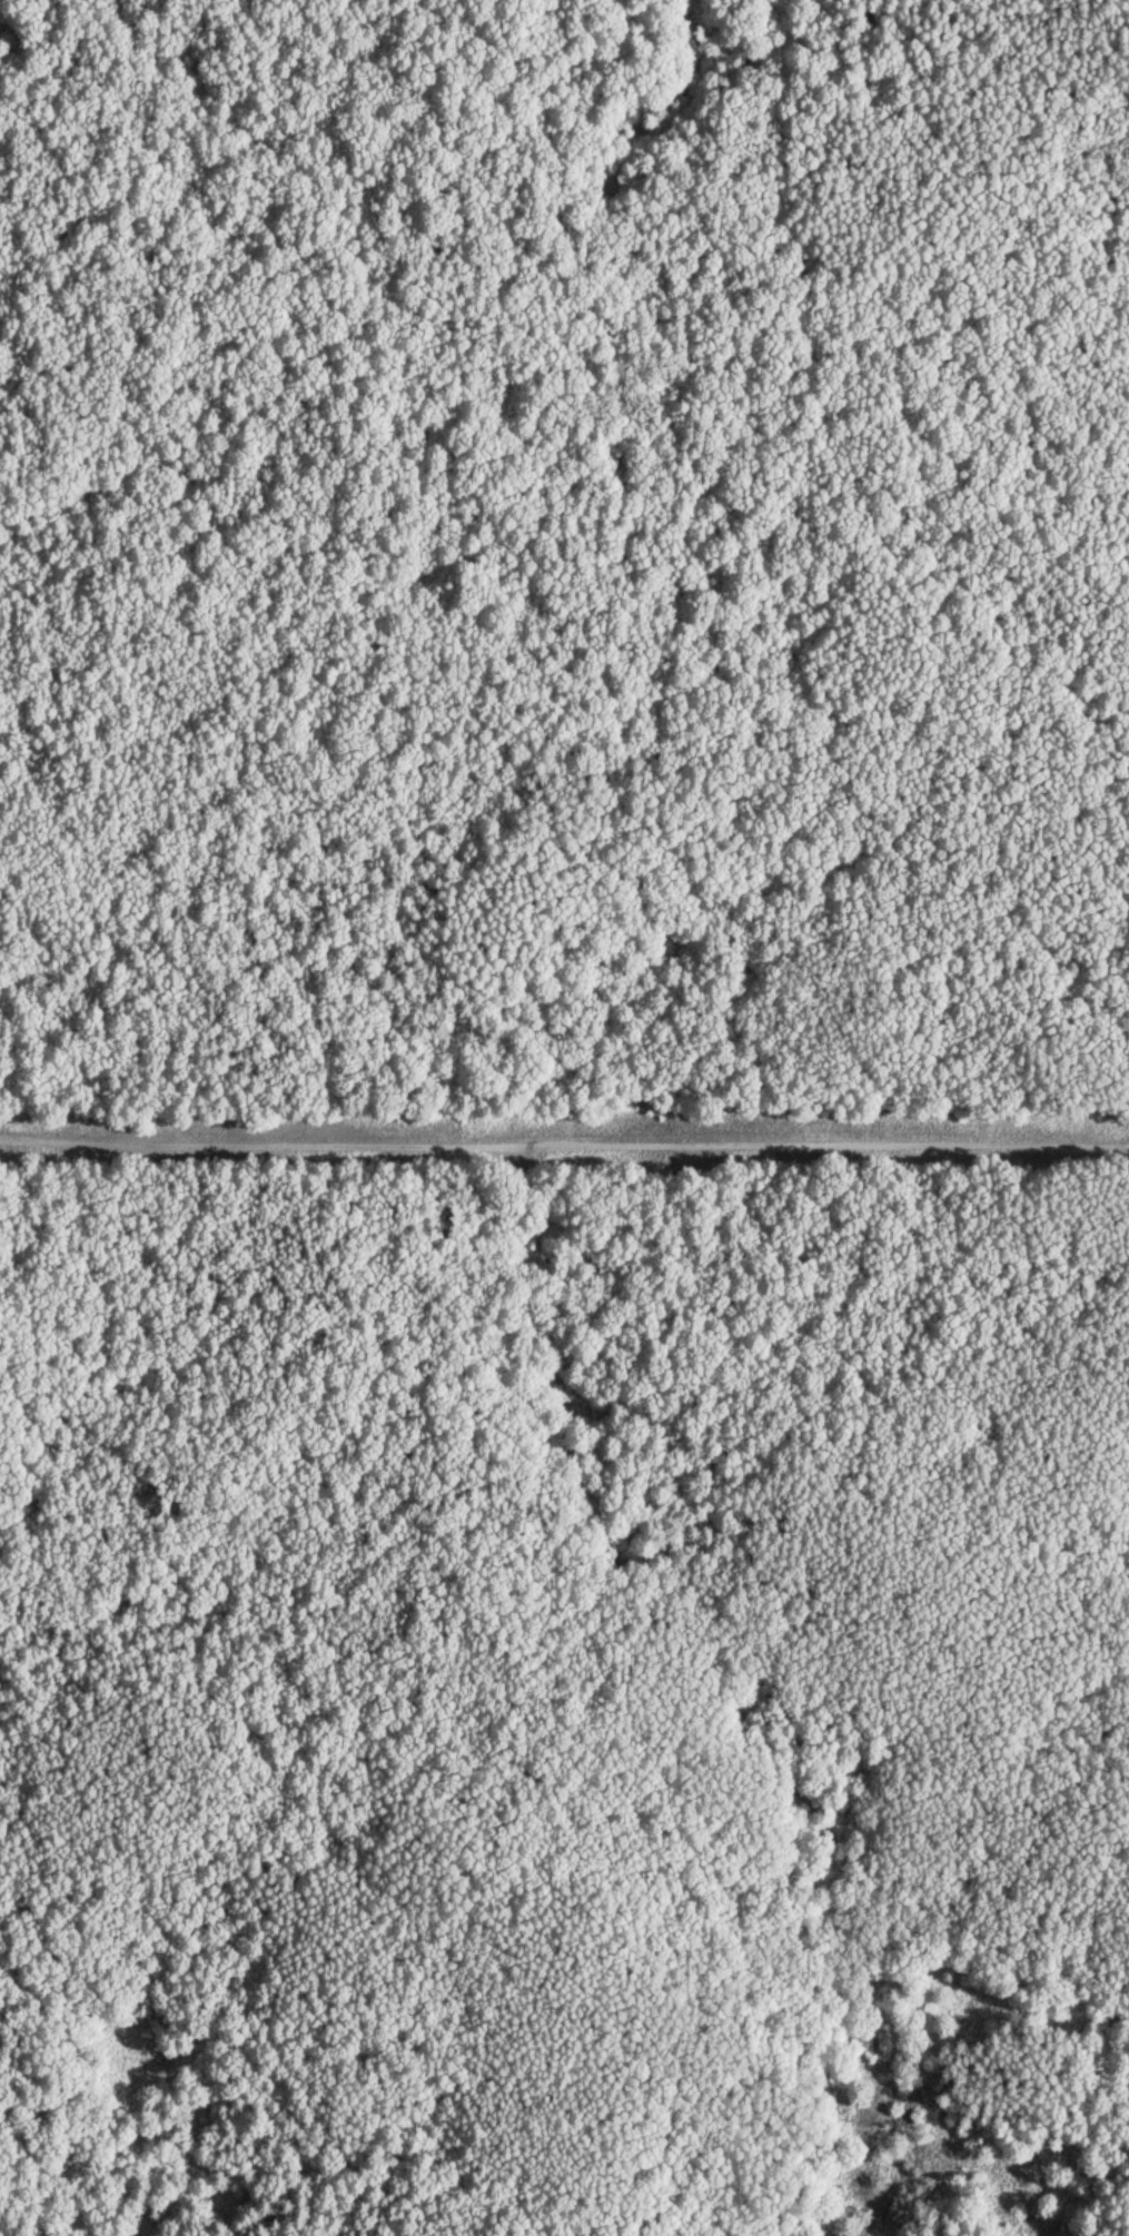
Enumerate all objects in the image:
road: (564, 1151)
road: (71, 1364)
road: (717, 1696)

